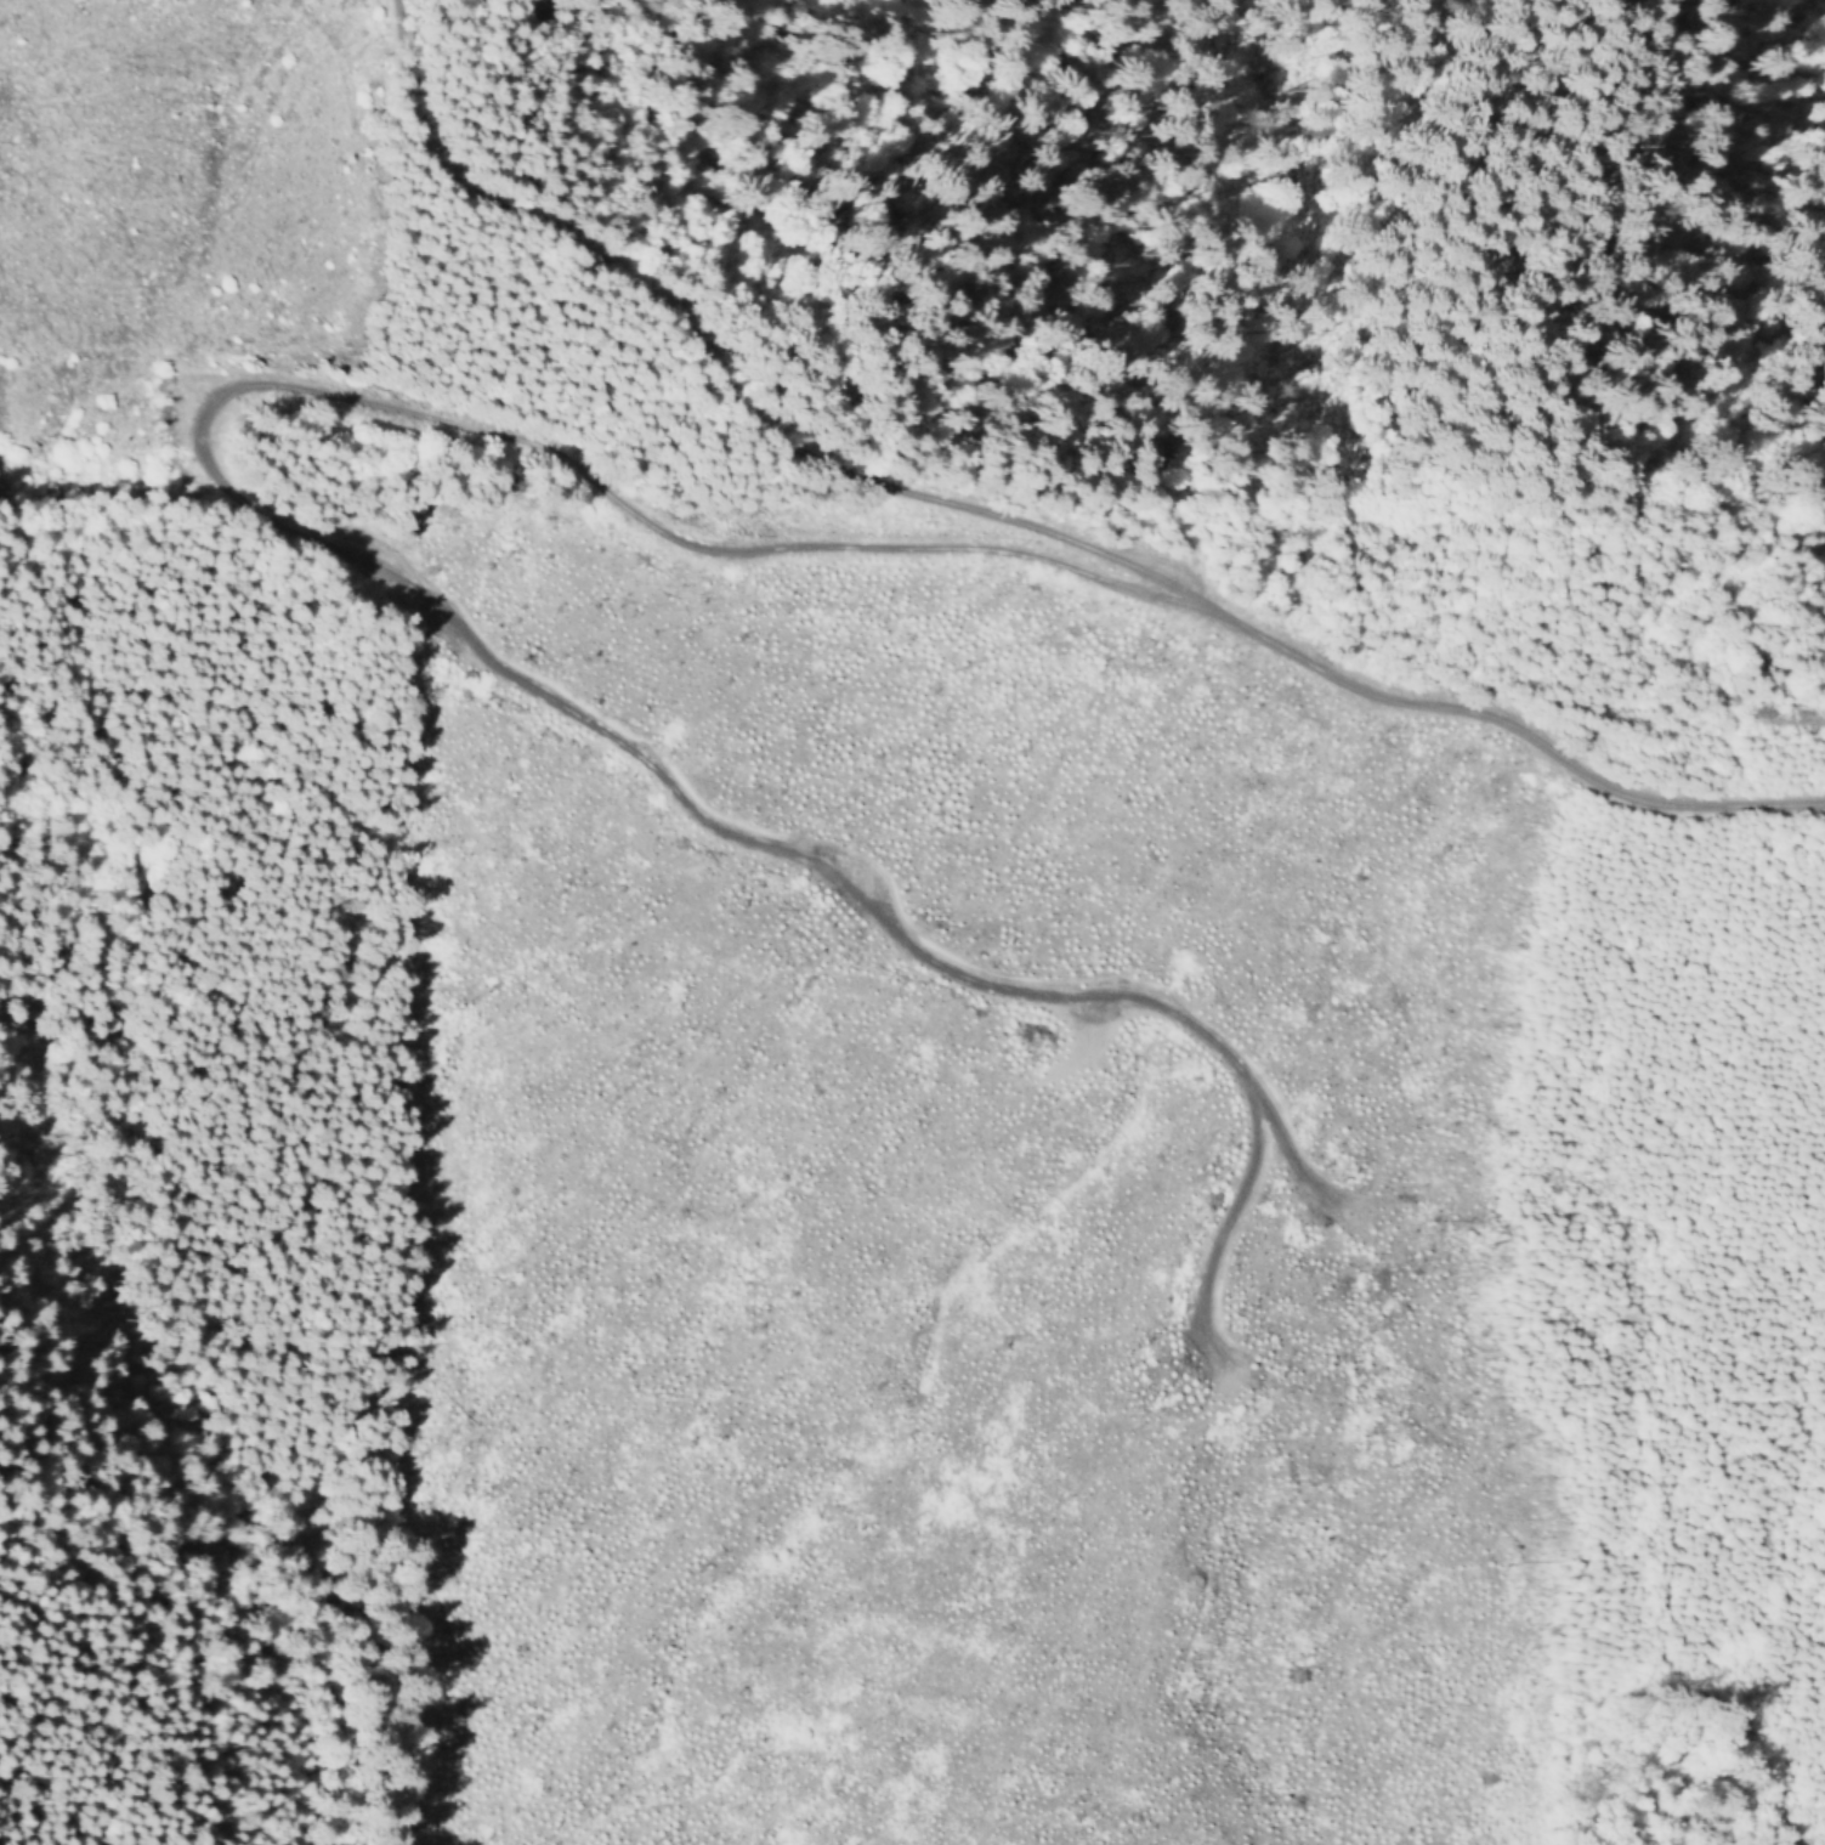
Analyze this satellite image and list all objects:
road: (512, 454)
road: (1018, 522)
road: (1659, 1687)

